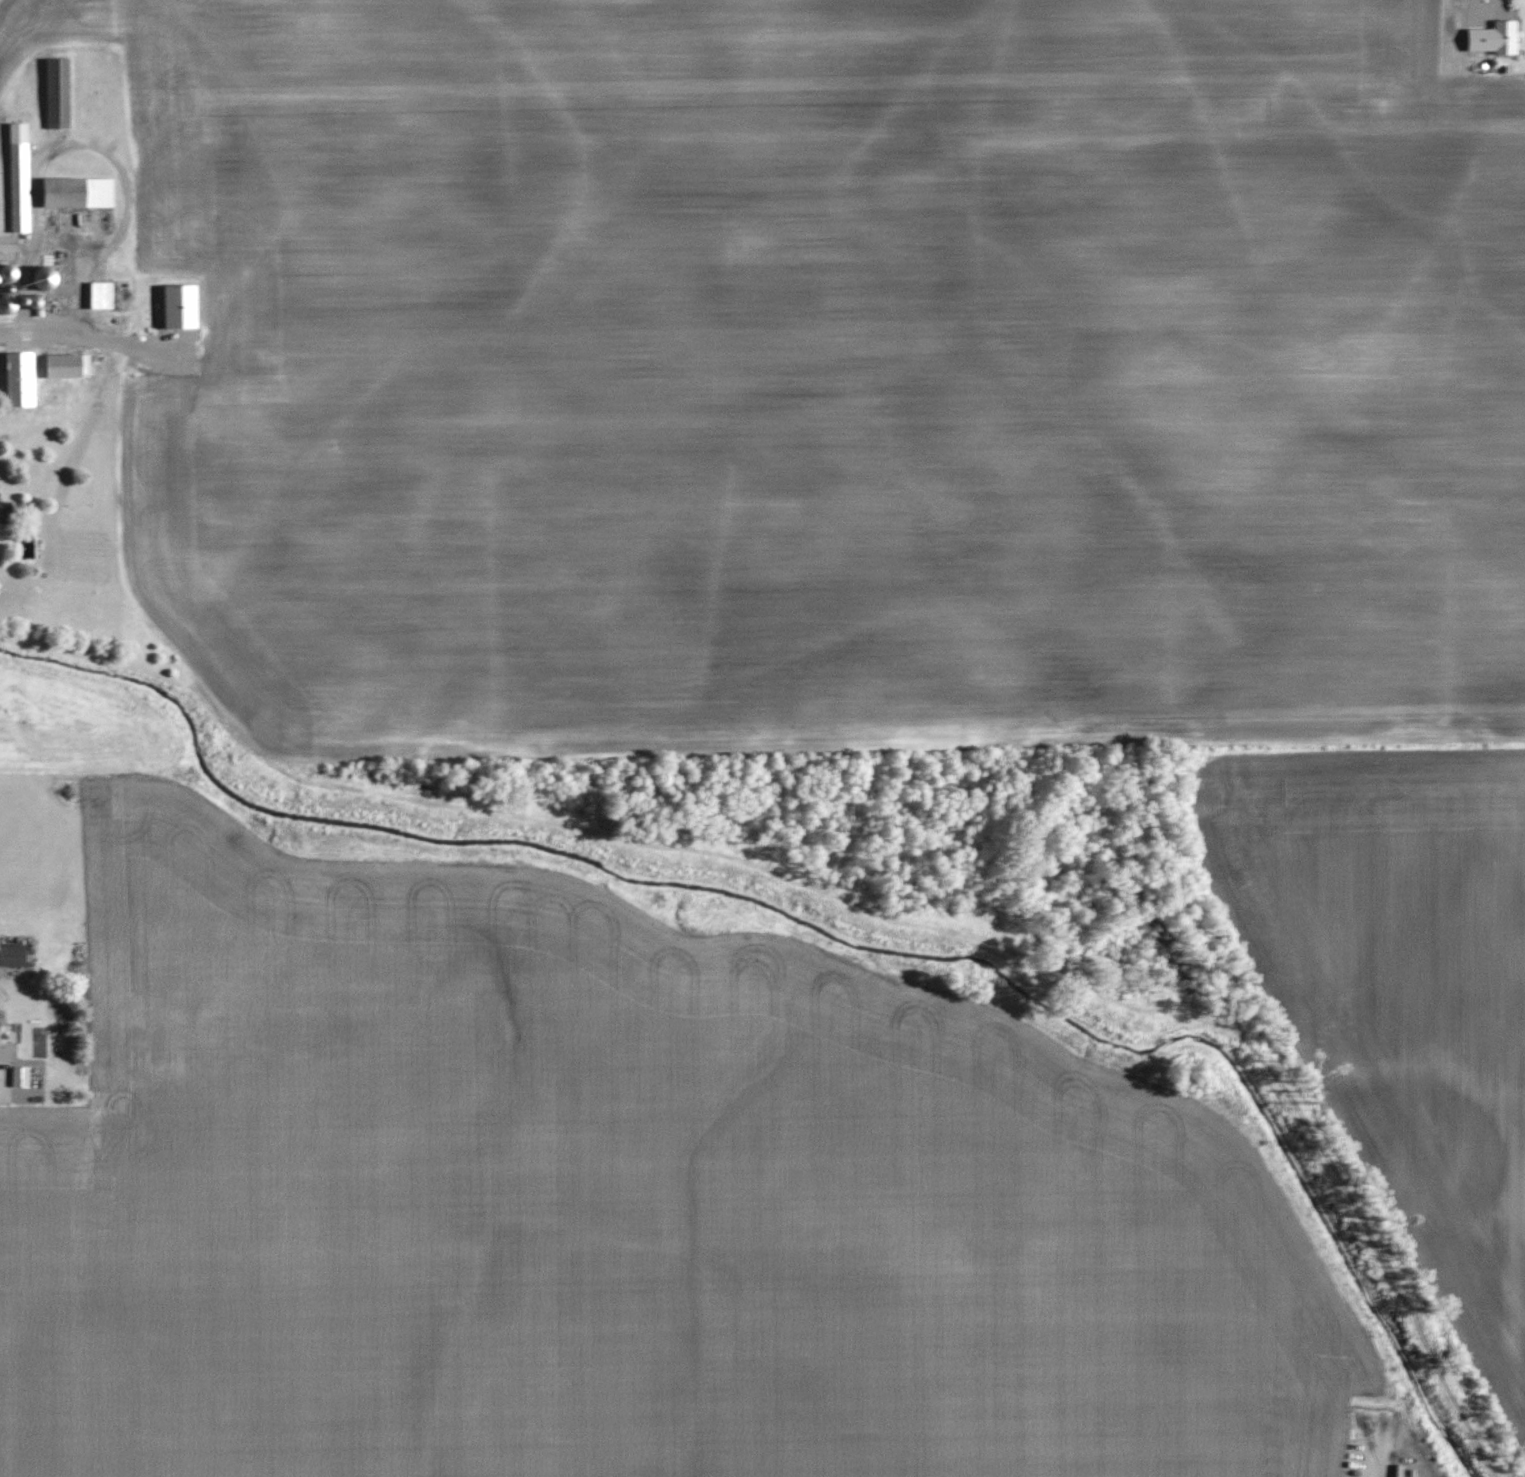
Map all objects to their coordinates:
building: (1505, 37)
building: (57, 93)
building: (18, 177)
building: (77, 193)
building: (8, 243)
building: (44, 280)
building: (100, 295)
building: (6, 305)
building: (19, 378)
building: (5, 512)
building: (5, 1051)
building: (20, 1075)

